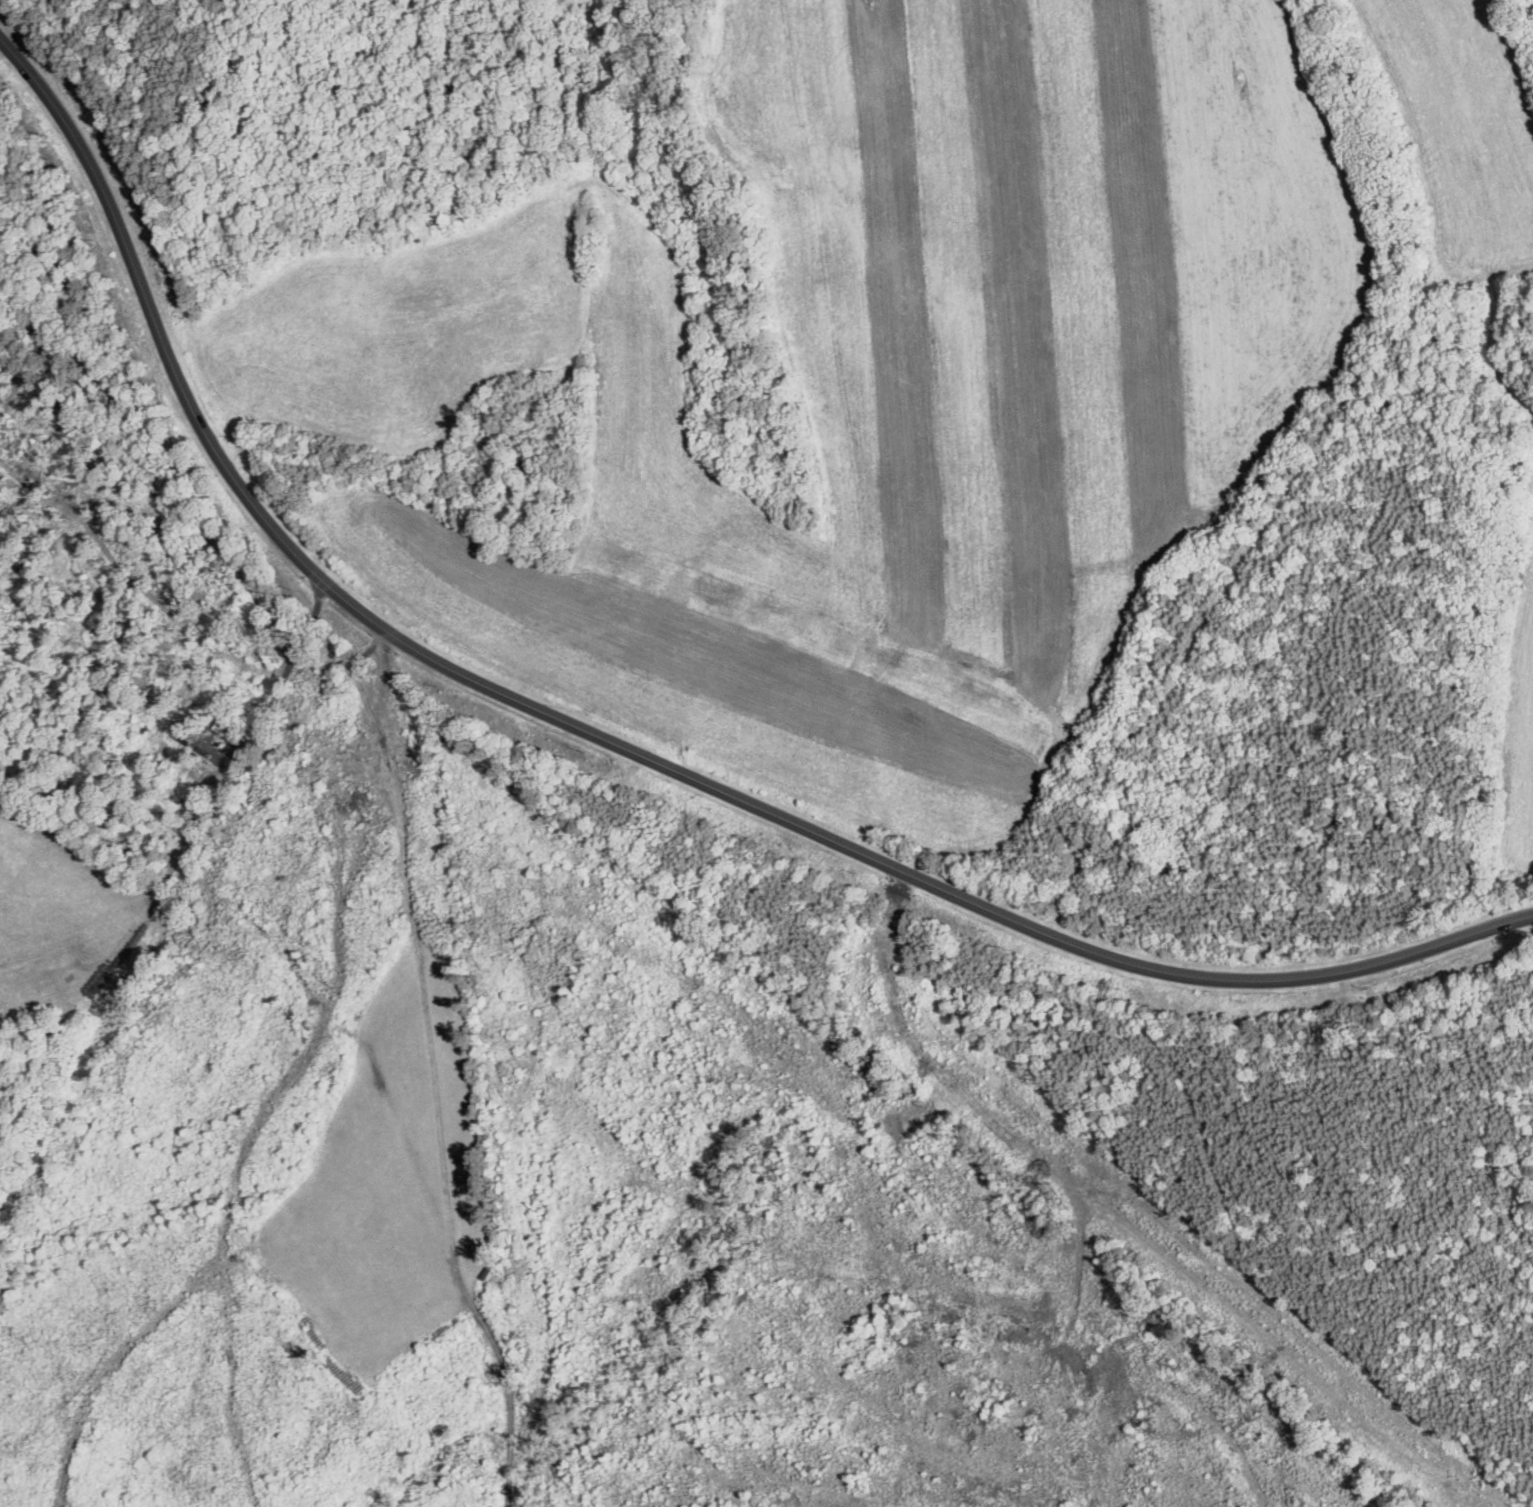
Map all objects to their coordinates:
road: (282, 672)
road: (614, 744)
crop: (70, 958)
crop: (396, 1168)

